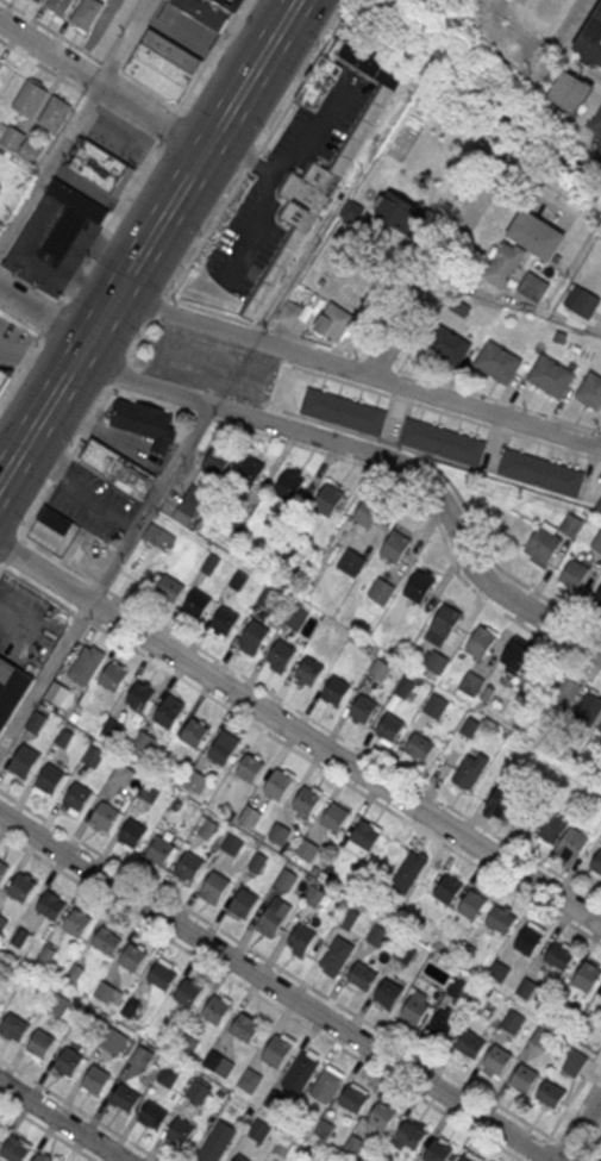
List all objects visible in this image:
building: (38, 0)
river: (365, 0)
building: (58, 5)
road: (343, 7)
building: (209, 10)
building: (86, 13)
parking lot: (182, 29)
road: (130, 39)
building: (591, 40)
road: (52, 48)
road: (92, 52)
road: (211, 55)
building: (162, 65)
road: (251, 74)
river: (436, 82)
road: (80, 87)
building: (570, 90)
building: (31, 96)
building: (54, 112)
road: (156, 112)
road: (169, 121)
building: (18, 141)
road: (255, 156)
road: (51, 163)
river: (564, 166)
building: (101, 167)
building: (323, 174)
building: (400, 212)
building: (68, 219)
building: (537, 233)
road: (438, 258)
building: (502, 263)
road: (81, 264)
building: (534, 286)
road: (389, 299)
building: (582, 300)
road: (439, 304)
road: (161, 308)
building: (289, 312)
road: (102, 314)
road: (20, 318)
building: (334, 322)
road: (268, 325)
parking lot: (12, 341)
building: (449, 348)
road: (378, 360)
parking lot: (212, 364)
building: (500, 364)
road: (358, 368)
building: (5, 375)
building: (552, 377)
building: (590, 393)
road: (496, 398)
road: (439, 411)
building: (344, 413)
building: (145, 422)
road: (597, 427)
road: (87, 429)
road: (326, 437)
road: (593, 437)
building: (444, 443)
road: (593, 457)
building: (217, 458)
building: (118, 467)
building: (249, 472)
building: (541, 474)
road: (393, 475)
building: (288, 485)
road: (595, 485)
building: (327, 499)
parking lot: (93, 503)
building: (189, 505)
building: (599, 505)
building: (369, 511)
building: (55, 519)
building: (284, 522)
building: (158, 536)
building: (551, 537)
building: (394, 545)
road: (12, 550)
building: (351, 563)
road: (2, 567)
building: (575, 574)
road: (108, 575)
building: (168, 586)
building: (419, 586)
building: (381, 593)
building: (269, 600)
building: (196, 603)
building: (595, 603)
building: (296, 618)
building: (445, 620)
building: (223, 622)
parking lot: (26, 623)
building: (252, 635)
building: (481, 642)
building: (281, 653)
building: (518, 655)
building: (84, 664)
building: (436, 664)
building: (309, 670)
building: (381, 670)
building: (112, 676)
building: (471, 685)
building: (11, 686)
building: (336, 689)
building: (56, 692)
building: (140, 694)
building: (565, 694)
building: (363, 707)
building: (436, 707)
building: (589, 710)
building: (167, 713)
road: (311, 718)
building: (36, 720)
building: (390, 726)
building: (600, 728)
building: (194, 731)
road: (300, 732)
building: (142, 743)
building: (420, 745)
building: (224, 747)
road: (301, 755)
building: (24, 760)
building: (250, 767)
building: (470, 772)
building: (121, 774)
building: (48, 779)
building: (195, 780)
building: (277, 782)
building: (149, 791)
building: (77, 795)
building: (306, 800)
building: (502, 800)
building: (105, 813)
building: (251, 817)
building: (334, 817)
building: (205, 825)
building: (553, 826)
building: (132, 831)
building: (280, 835)
building: (363, 836)
building: (574, 842)
building: (232, 845)
building: (159, 849)
building: (189, 864)
building: (595, 864)
building: (2, 867)
building: (407, 872)
building: (287, 882)
building: (215, 884)
building: (21, 886)
building: (447, 890)
building: (244, 900)
building: (472, 903)
building: (50, 904)
building: (271, 918)
building: (348, 918)
building: (501, 919)
building: (77, 920)
building: (2, 922)
building: (377, 936)
building: (19, 937)
building: (301, 937)
building: (528, 938)
building: (106, 940)
building: (46, 954)
building: (337, 955)
building: (133, 956)
building: (559, 956)
building: (74, 972)
building: (161, 974)
building: (362, 975)
road: (294, 976)
building: (587, 976)
road: (275, 985)
building: (105, 991)
building: (388, 991)
building: (188, 992)
road: (261, 995)
building: (58, 1003)
building: (0, 1004)
building: (130, 1006)
building: (215, 1009)
building: (414, 1010)
building: (513, 1020)
building: (245, 1025)
building: (443, 1025)
building: (14, 1026)
building: (113, 1041)
building: (42, 1042)
building: (470, 1043)
building: (277, 1049)
building: (142, 1055)
building: (497, 1059)
building: (69, 1060)
building: (575, 1061)
building: (221, 1065)
building: (300, 1073)
building: (169, 1075)
building: (95, 1078)
building: (524, 1078)
building: (249, 1079)
building: (325, 1085)
building: (198, 1091)
building: (550, 1093)
building: (125, 1098)
building: (353, 1099)
road: (568, 1107)
road: (80, 1109)
building: (382, 1115)
building: (154, 1116)
road: (64, 1119)
building: (0, 1125)
road: (580, 1128)
building: (258, 1129)
road: (48, 1130)
building: (180, 1131)
building: (411, 1134)
building: (217, 1141)
building: (355, 1146)
road: (593, 1148)
building: (14, 1149)
building: (439, 1151)
building: (43, 1157)
building: (240, 1157)
building: (467, 1159)

